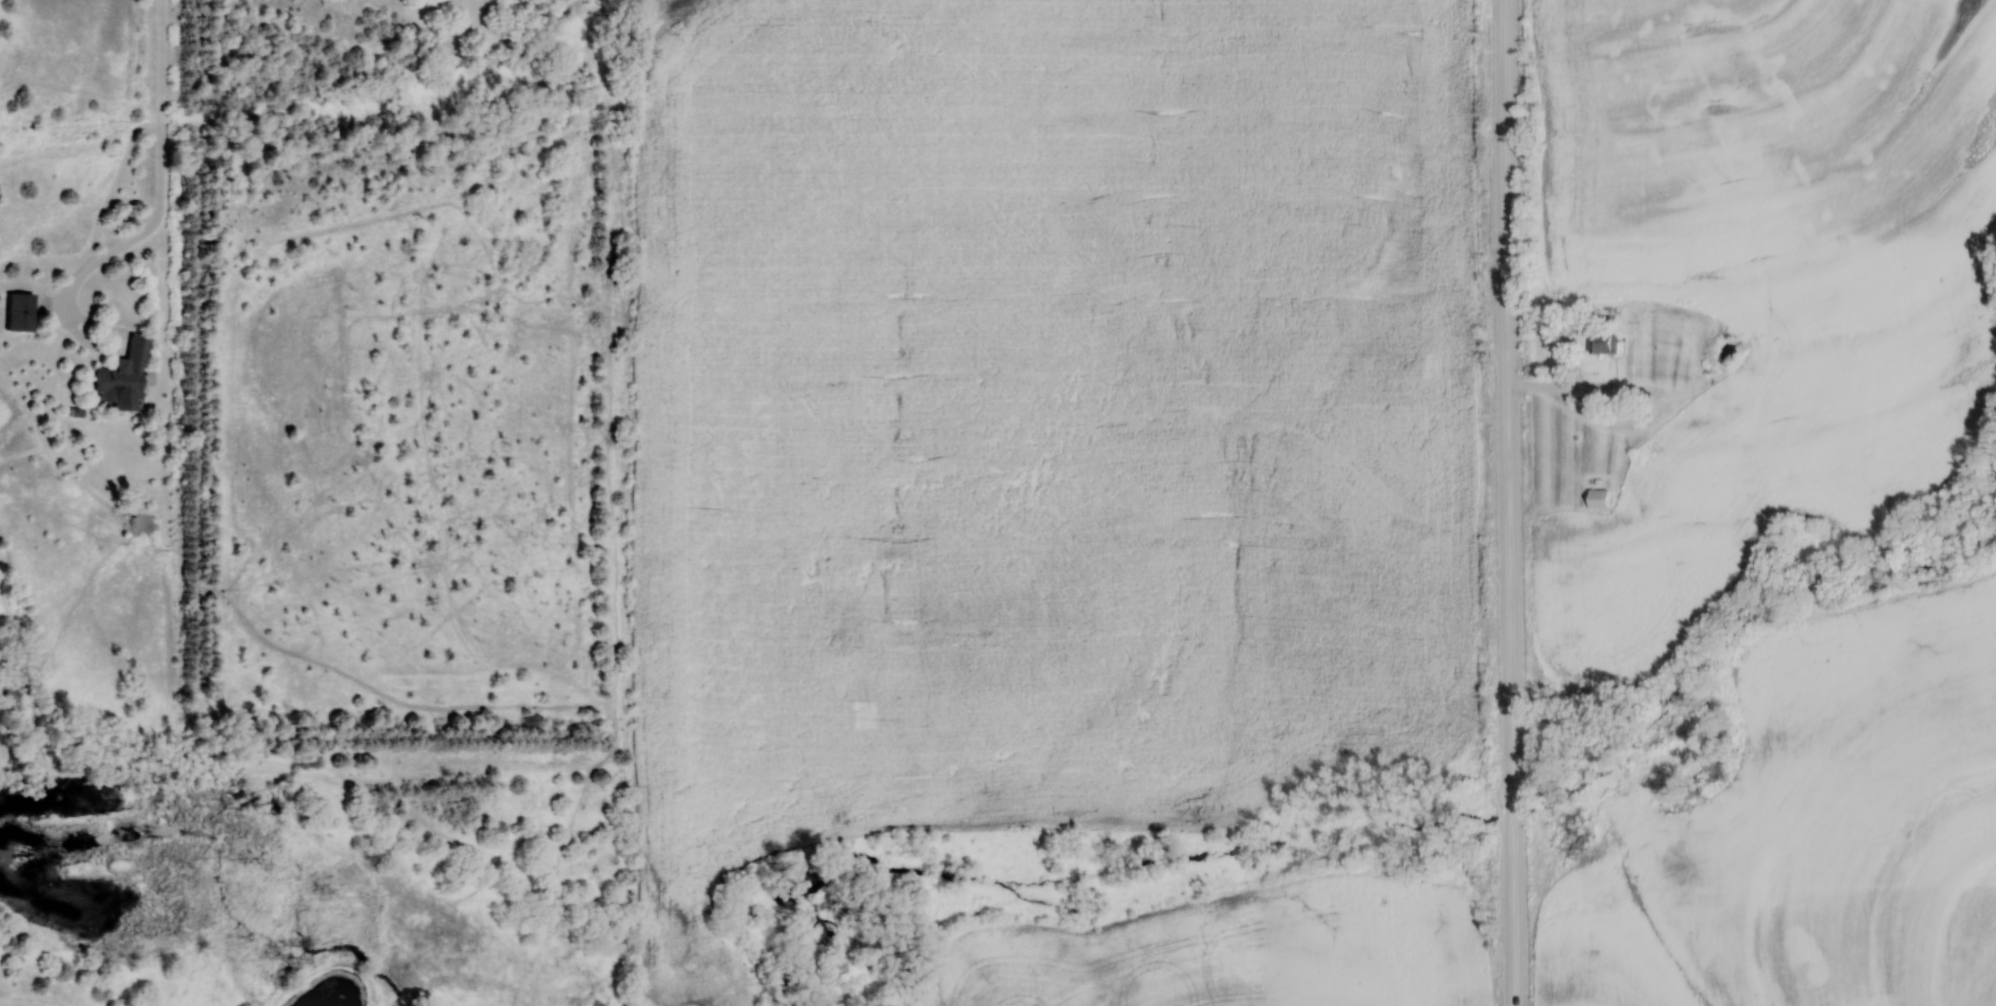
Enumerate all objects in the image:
building: (23, 311)
building: (1601, 345)
building: (128, 369)
building: (1597, 499)
road: (1508, 503)

